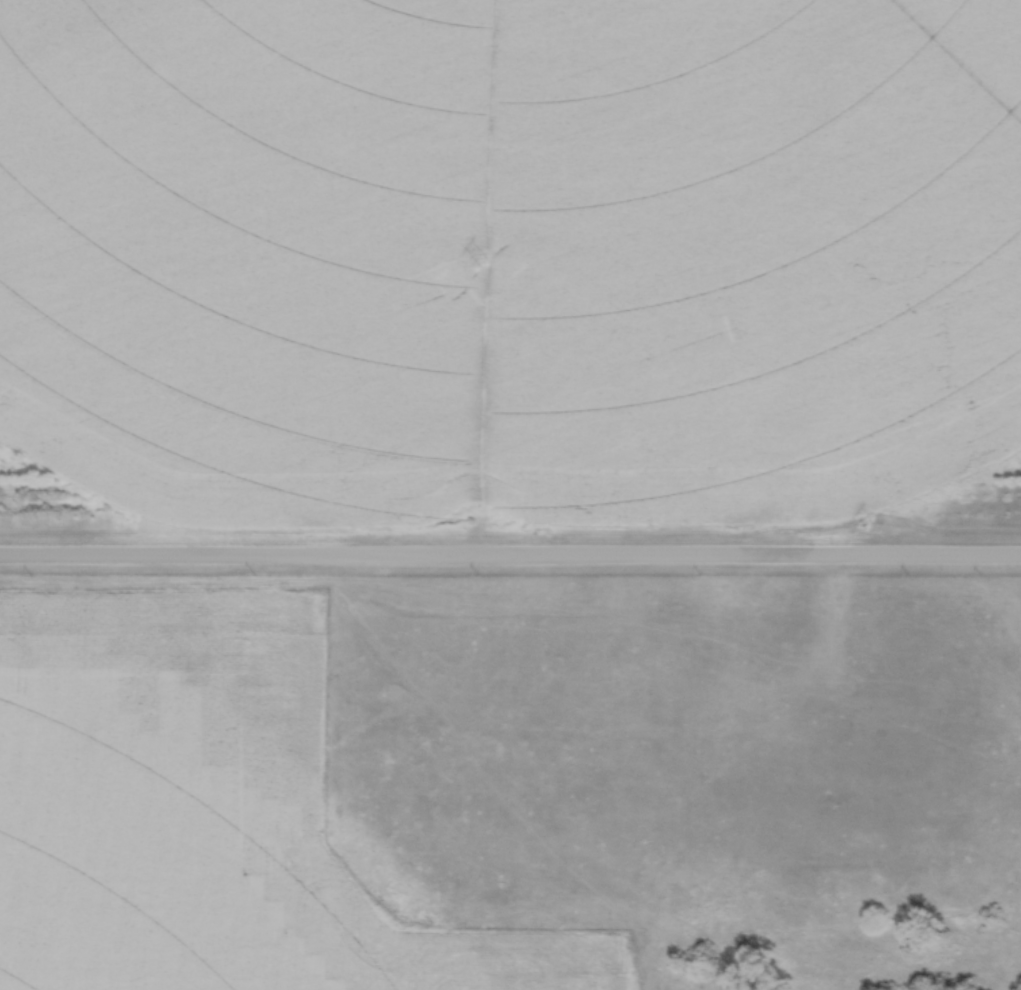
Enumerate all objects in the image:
power tower: (485, 263)
power tower: (864, 524)
road: (510, 556)

